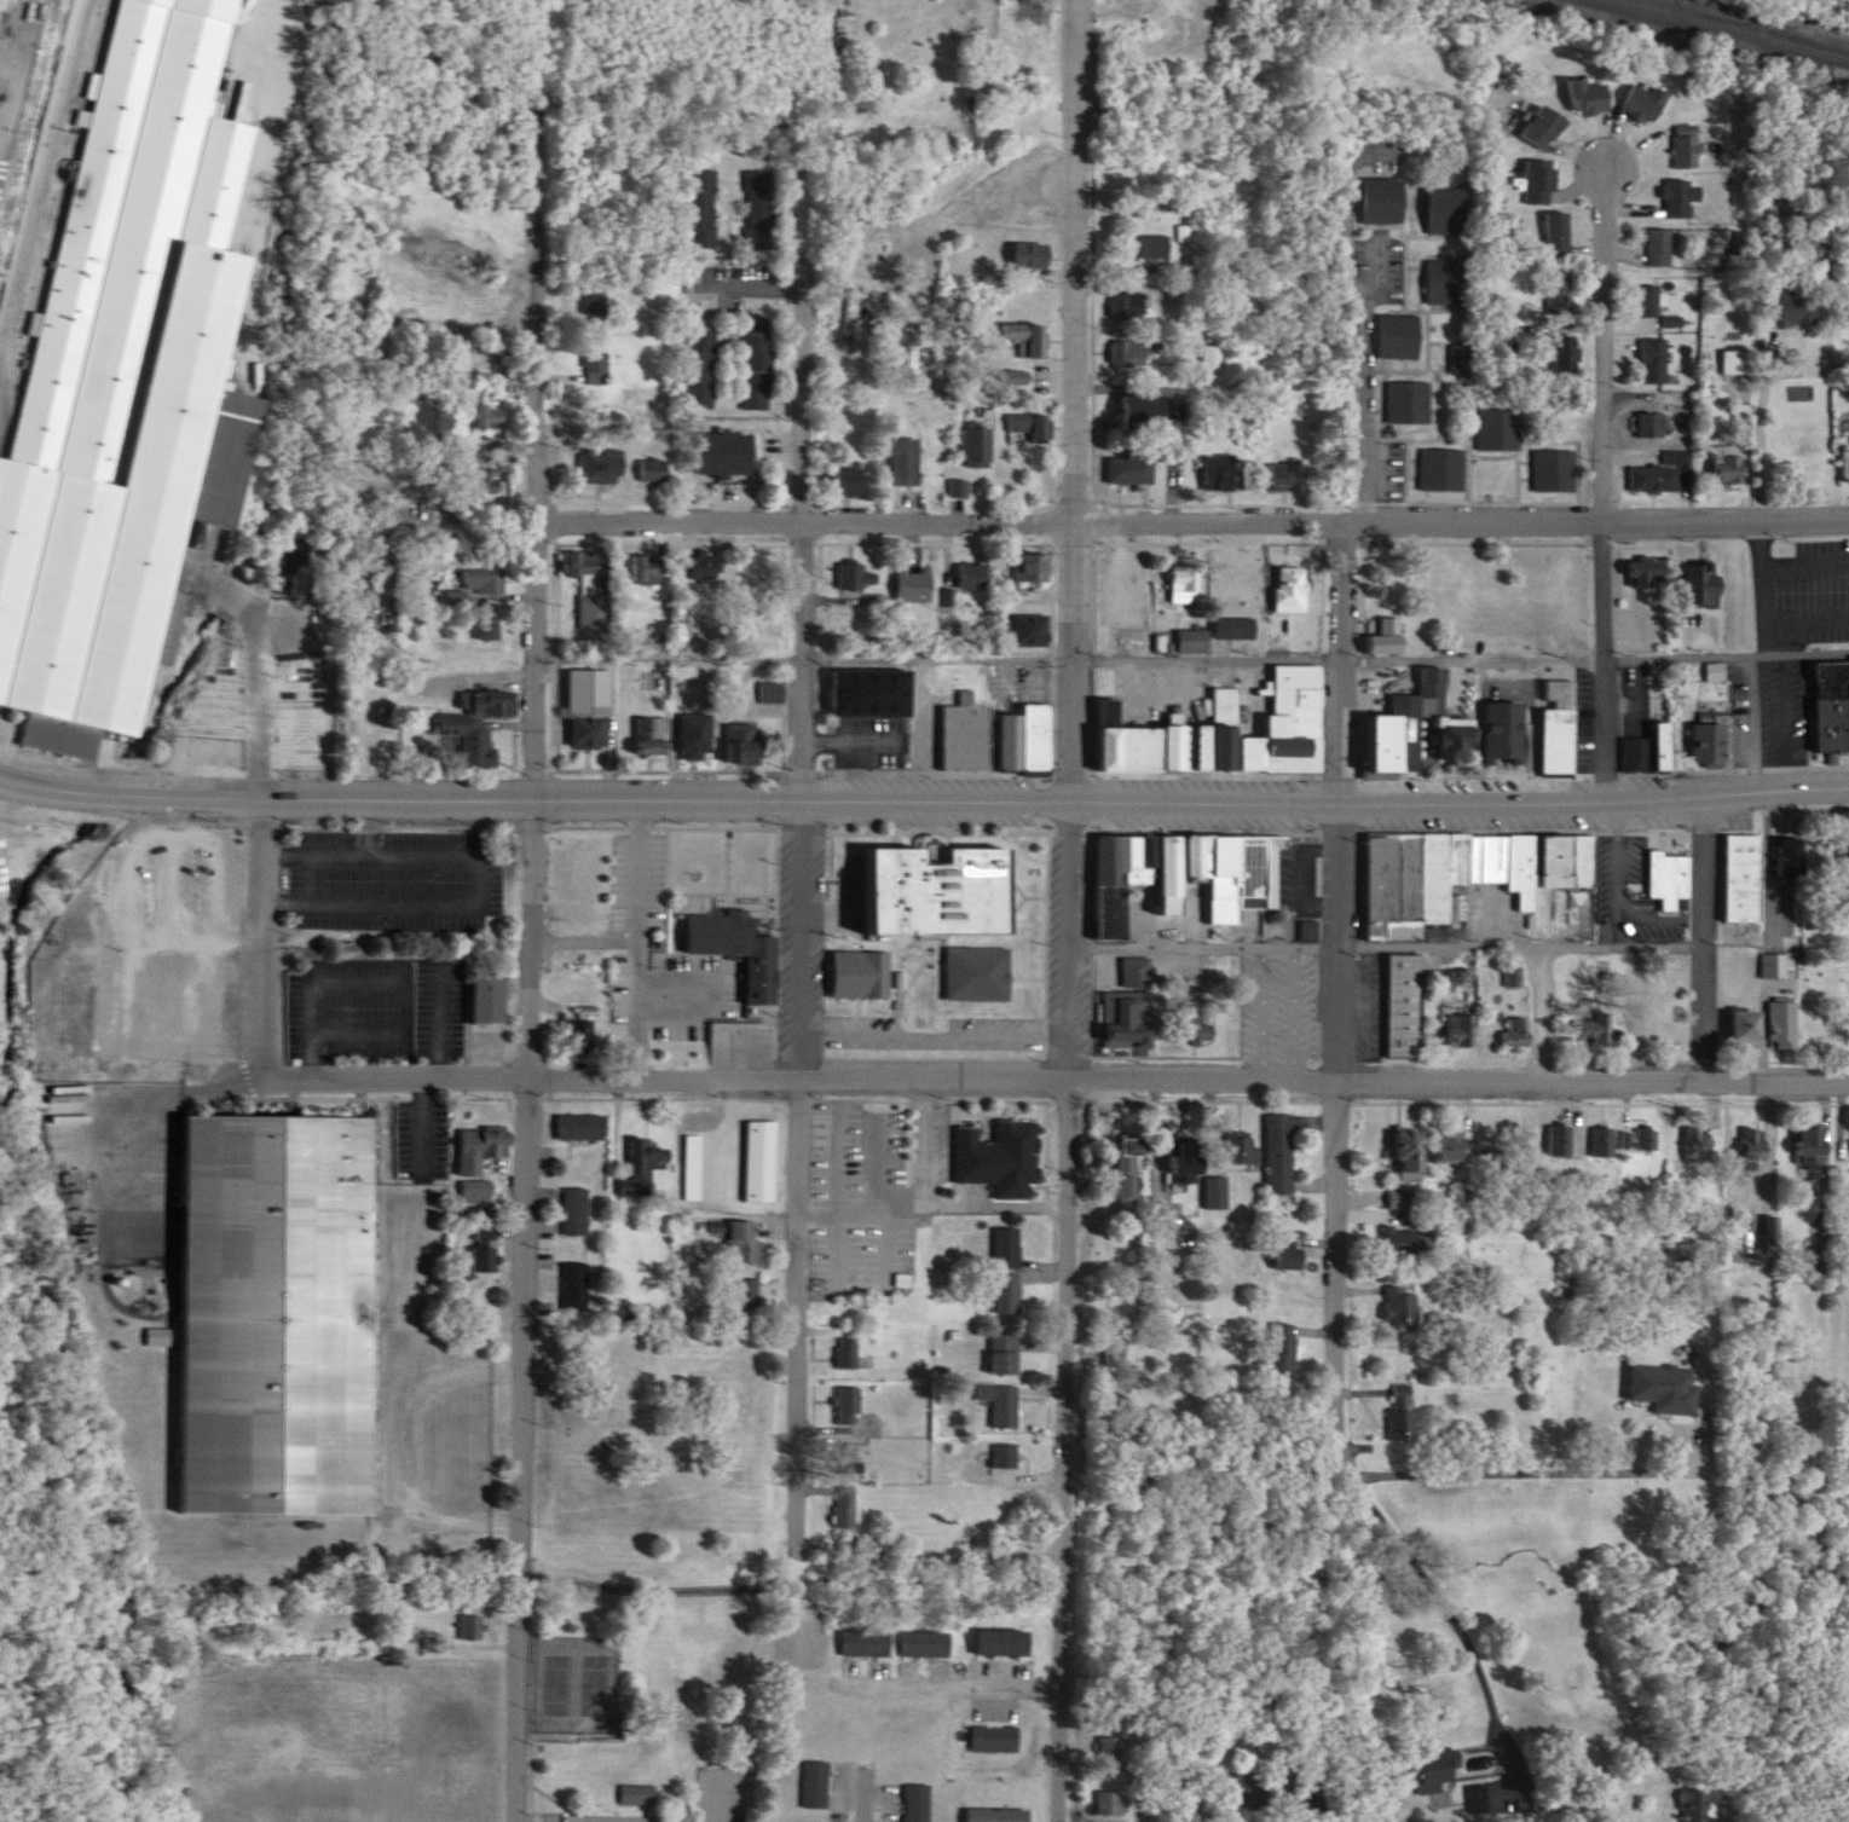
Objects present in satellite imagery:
building: (847, 17)
railway: (1753, 23)
building: (1590, 98)
building: (1645, 104)
building: (1544, 129)
building: (1687, 148)
road: (40, 156)
building: (1541, 184)
building: (1681, 199)
building: (1383, 203)
building: (703, 209)
building: (762, 210)
building: (1449, 213)
building: (1185, 235)
building: (1560, 236)
building: (1156, 248)
building: (1660, 249)
building: (1032, 259)
building: (1449, 283)
building: (1560, 293)
road: (761, 296)
building: (1649, 302)
building: (596, 305)
building: (1129, 312)
building: (1792, 312)
road: (250, 317)
road: (859, 324)
building: (1400, 337)
building: (1028, 340)
road: (1368, 351)
building: (1566, 353)
building: (1136, 354)
building: (1460, 359)
building: (1212, 360)
building: (1656, 363)
building: (1737, 364)
building: (759, 365)
building: (126, 370)
building: (596, 370)
building: (703, 371)
road: (1082, 399)
building: (1410, 404)
building: (1145, 412)
road: (1766, 416)
building: (483, 418)
building: (1651, 427)
building: (1030, 430)
building: (1500, 430)
road: (541, 447)
building: (980, 449)
building: (726, 456)
building: (907, 463)
building: (1730, 465)
building: (605, 468)
building: (1845, 468)
building: (1132, 472)
building: (1444, 472)
building: (1556, 472)
building: (655, 473)
building: (1220, 475)
road: (1614, 478)
building: (1289, 479)
building: (1657, 480)
building: (486, 482)
building: (851, 484)
road: (1365, 490)
road: (561, 498)
road: (1363, 509)
road: (1217, 510)
road: (1612, 510)
road: (1104, 514)
road: (811, 522)
road: (1732, 522)
road: (1207, 528)
road: (803, 549)
building: (706, 568)
building: (1034, 568)
building: (646, 574)
building: (972, 575)
building: (1648, 575)
building: (857, 578)
road: (1371, 578)
building: (483, 582)
building: (1185, 585)
building: (914, 586)
building: (1701, 588)
building: (1292, 591)
building: (589, 592)
building: (490, 627)
building: (1236, 630)
building: (1032, 631)
parking lot: (1790, 632)
building: (683, 635)
road: (1328, 636)
road: (1625, 636)
building: (1388, 640)
building: (1194, 642)
road: (1327, 648)
road: (1345, 654)
road: (671, 657)
building: (1717, 673)
building: (1828, 690)
building: (772, 693)
building: (873, 694)
road: (242, 706)
building: (590, 711)
building: (478, 727)
building: (1422, 731)
building: (1506, 734)
building: (1230, 735)
building: (966, 736)
building: (695, 738)
building: (652, 739)
building: (1559, 742)
building: (1710, 746)
building: (744, 747)
building: (1665, 748)
building: (1636, 757)
road: (1195, 762)
road: (1460, 796)
road: (533, 798)
road: (1068, 815)
road: (1027, 826)
road: (1035, 826)
road: (1028, 835)
road: (738, 852)
road: (288, 854)
building: (1183, 858)
building: (1464, 858)
building: (1666, 862)
building: (1745, 862)
park: (1029, 868)
building: (929, 874)
road: (729, 880)
road: (1027, 881)
road: (1623, 886)
road: (1664, 887)
road: (707, 890)
road: (1021, 895)
road: (288, 896)
road: (444, 901)
road: (672, 907)
building: (1313, 916)
road: (1710, 927)
road: (266, 929)
road: (786, 929)
road: (635, 930)
road: (1723, 931)
building: (1311, 932)
road: (1694, 932)
building: (744, 933)
road: (1207, 936)
road: (587, 937)
road: (1526, 937)
building: (1775, 952)
building: (1139, 956)
building: (977, 958)
building: (1467, 959)
building: (865, 960)
building: (1514, 961)
building: (490, 984)
road: (1051, 990)
building: (1403, 990)
building: (1495, 1000)
road: (1271, 1001)
parking lot: (1293, 1001)
road: (1301, 1001)
road: (1538, 1002)
building: (1127, 1003)
building: (1195, 1005)
building: (1780, 1007)
building: (1741, 1010)
building: (1593, 1012)
building: (1458, 1014)
building: (1514, 1017)
building: (584, 1018)
road: (937, 1020)
building: (1195, 1024)
building: (1786, 1026)
building: (1751, 1028)
building: (1597, 1030)
building: (1462, 1033)
building: (1518, 1035)
building: (582, 1037)
road: (1327, 1045)
road: (668, 1063)
road: (1206, 1065)
road: (1594, 1069)
road: (1056, 1087)
road: (110, 1106)
building: (1555, 1124)
building: (1639, 1124)
building: (1601, 1126)
building: (582, 1128)
building: (1750, 1128)
building: (1445, 1130)
building: (1697, 1130)
building: (1807, 1132)
building: (1237, 1133)
building: (480, 1134)
building: (1403, 1135)
building: (1277, 1136)
road: (1339, 1139)
building: (1561, 1140)
building: (1605, 1140)
building: (1641, 1140)
building: (995, 1143)
building: (762, 1144)
building: (897, 1145)
building: (1180, 1145)
building: (1701, 1146)
building: (1451, 1147)
building: (1757, 1149)
building: (1815, 1150)
building: (704, 1151)
building: (1411, 1151)
building: (1122, 1167)
road: (804, 1169)
building: (641, 1173)
building: (480, 1176)
building: (1215, 1178)
road: (884, 1187)
parking lot: (863, 1188)
road: (929, 1188)
road: (999, 1191)
building: (479, 1192)
building: (1402, 1201)
road: (842, 1207)
building: (578, 1211)
building: (1394, 1222)
building: (1283, 1238)
building: (1406, 1239)
building: (747, 1244)
building: (1009, 1248)
building: (487, 1253)
building: (1821, 1260)
building: (1290, 1262)
building: (577, 1286)
building: (749, 1290)
building: (1397, 1290)
building: (1010, 1294)
building: (276, 1300)
road: (525, 1309)
road: (1068, 1309)
building: (1403, 1309)
building: (1281, 1329)
building: (849, 1353)
building: (1006, 1354)
park: (678, 1367)
building: (1662, 1371)
building: (1402, 1393)
building: (1004, 1405)
building: (850, 1406)
building: (1406, 1416)
road: (1683, 1445)
building: (1007, 1457)
road: (1516, 1470)
building: (849, 1508)
road: (1461, 1607)
building: (998, 1627)
building: (473, 1629)
building: (862, 1629)
building: (920, 1630)
building: (1002, 1643)
building: (865, 1644)
building: (925, 1645)
park: (585, 1671)
road: (959, 1688)
park: (645, 1697)
building: (995, 1722)
building: (996, 1740)
building: (1108, 1748)
building: (1425, 1749)
building: (813, 1766)
building: (1423, 1771)
parking lot: (727, 1777)
building: (819, 1785)
building: (914, 1791)
building: (1258, 1792)
building: (639, 1795)
road: (721, 1795)
building: (1108, 1803)
building: (995, 1804)
building: (1693, 1805)
building: (813, 1815)
building: (999, 1815)

